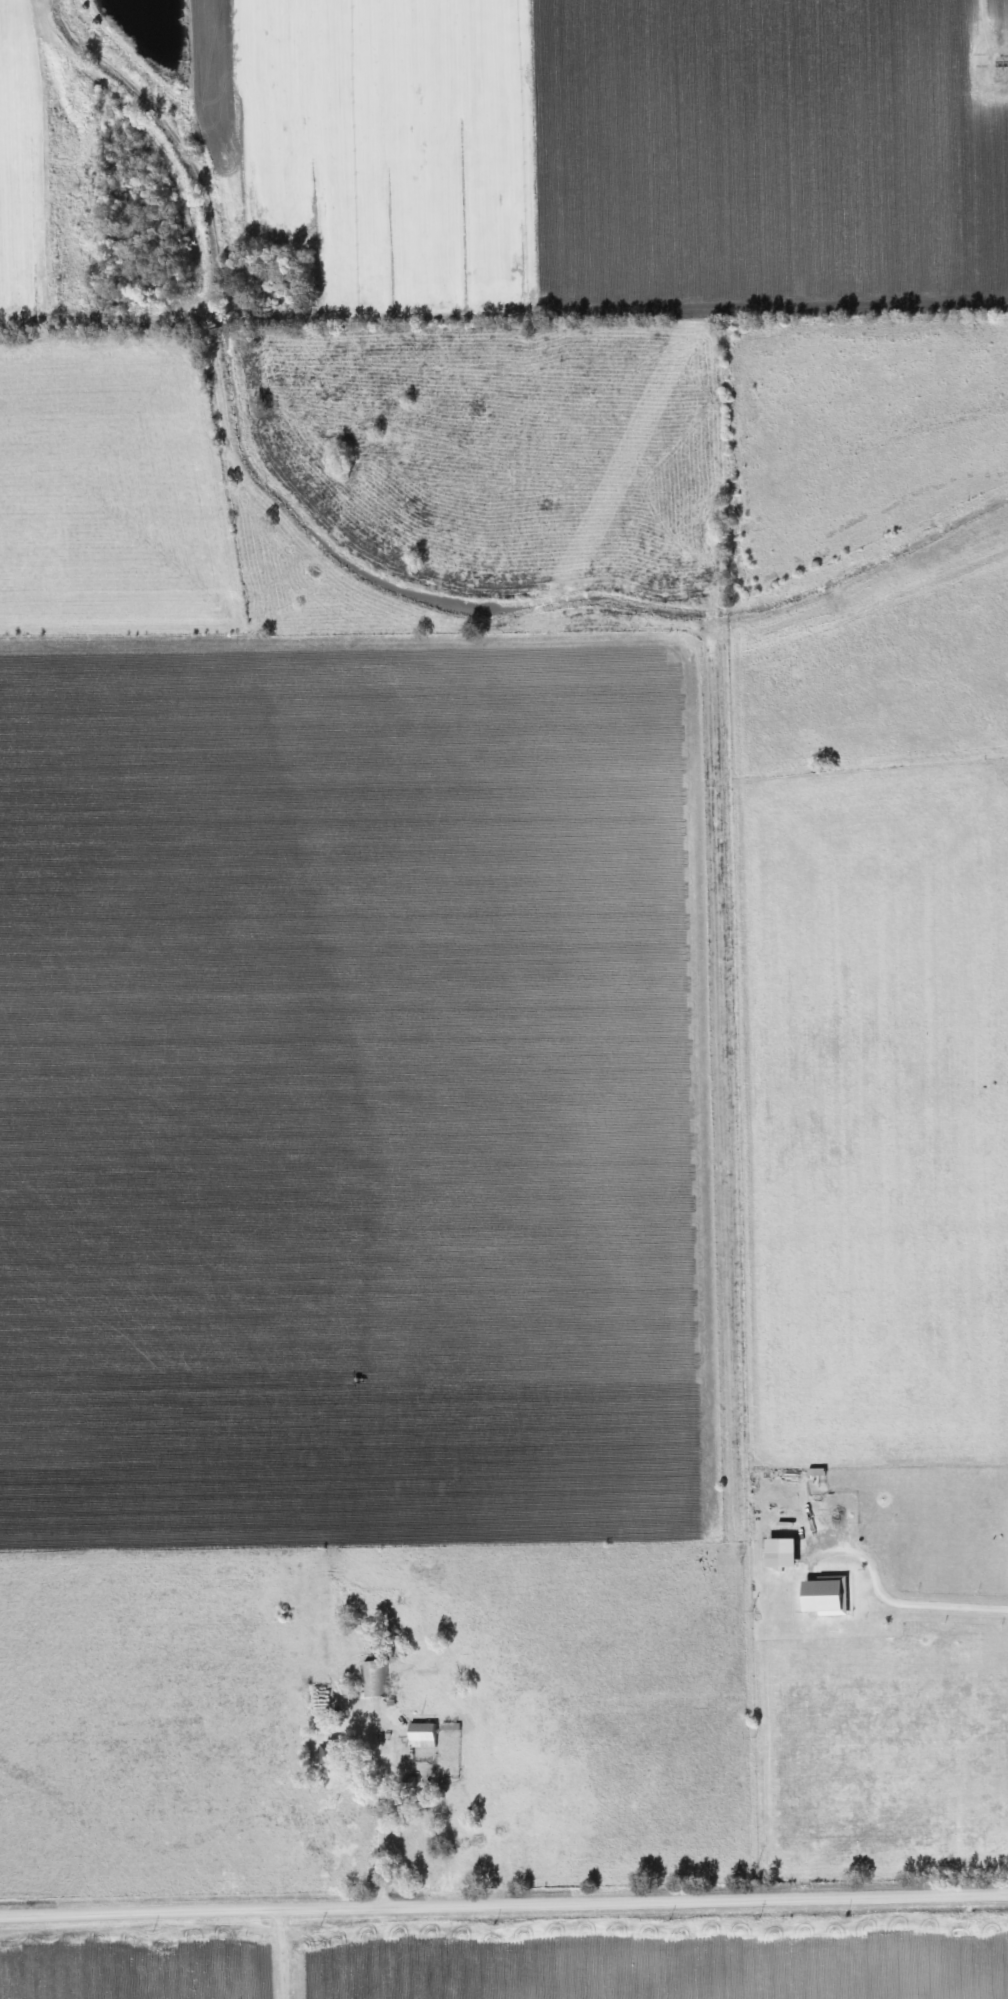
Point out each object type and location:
road: (983, 31)
building: (370, 1678)
building: (416, 1735)
building: (322, 1753)
road: (376, 1836)
road: (504, 1902)
road: (280, 1953)

